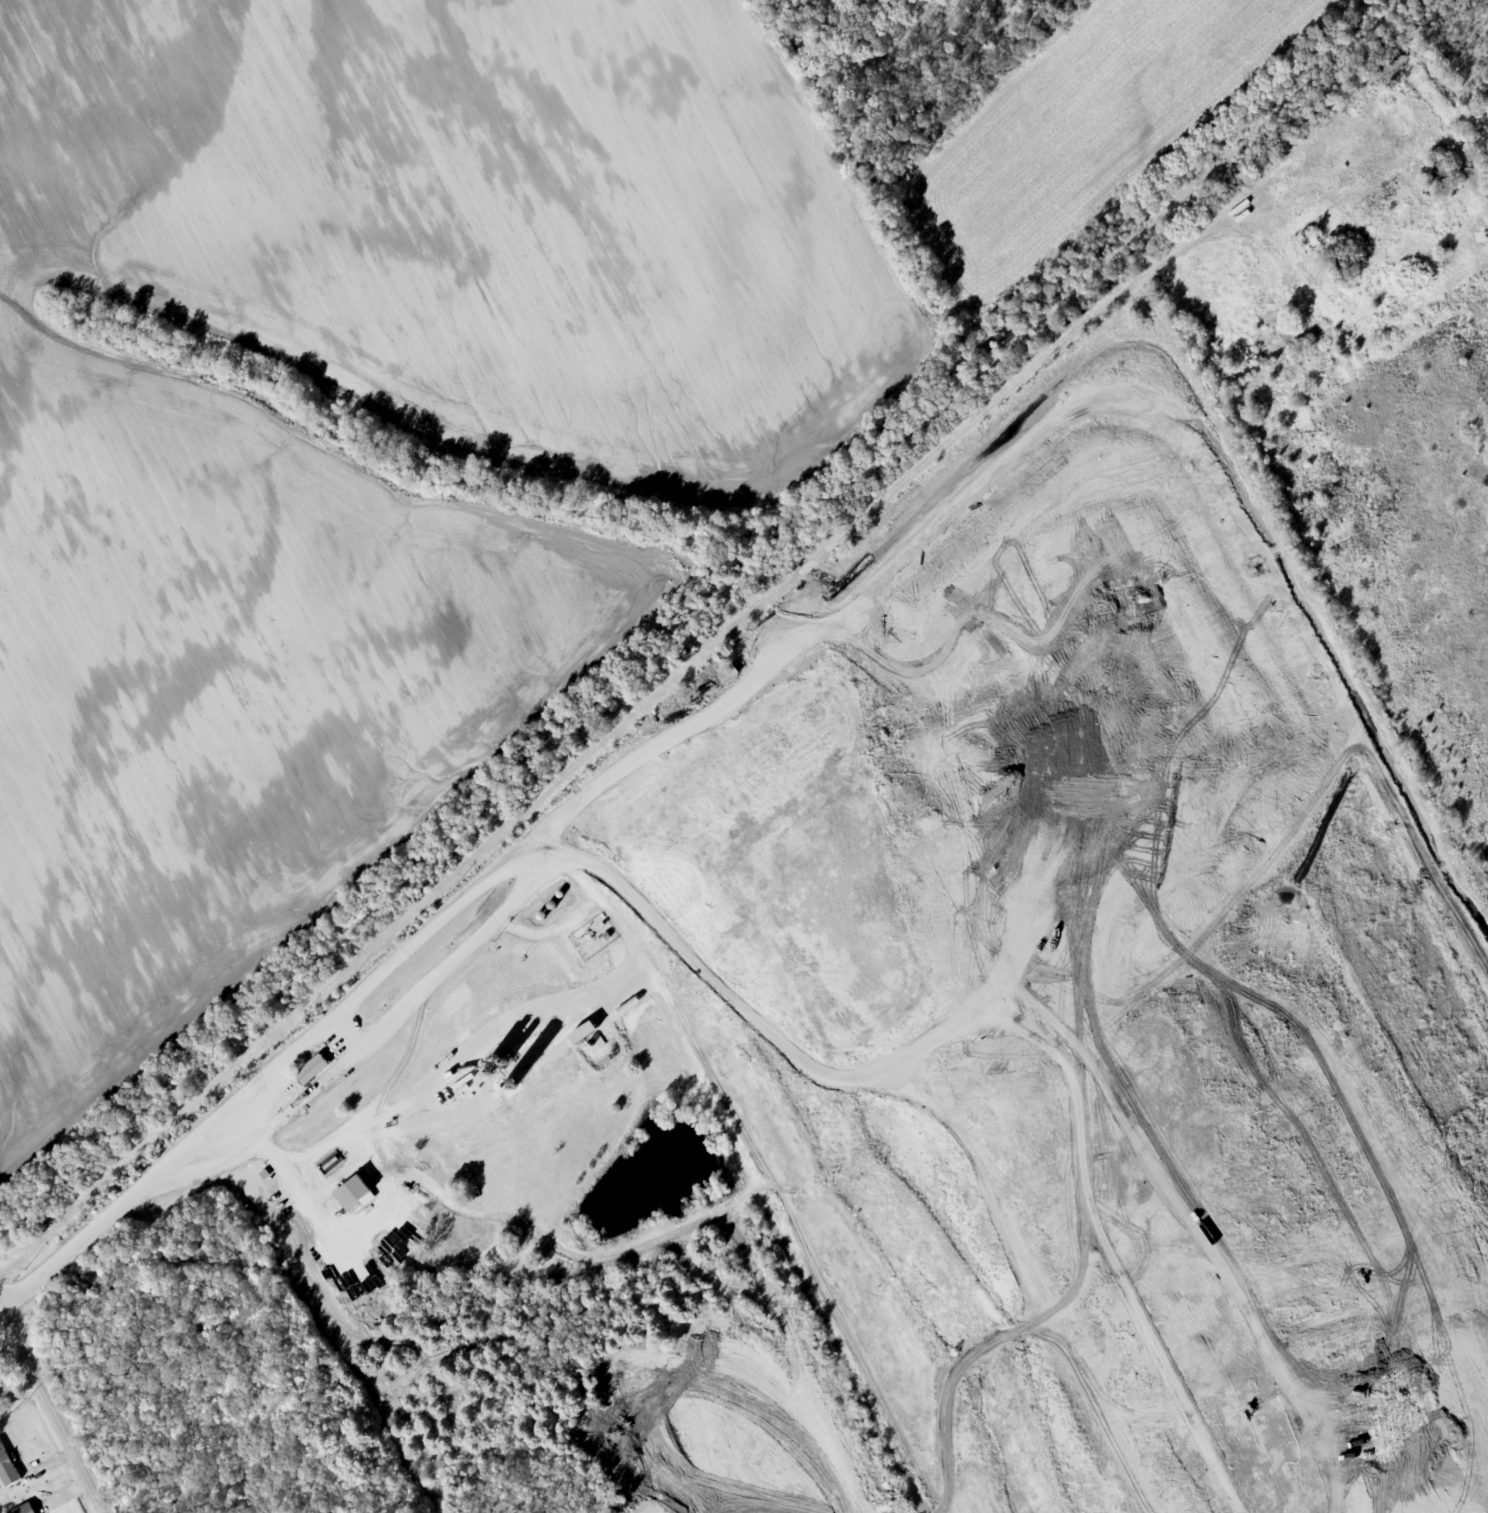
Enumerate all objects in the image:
building: (1442, 170)
building: (1309, 239)
railway: (696, 616)
building: (729, 675)
building: (587, 941)
building: (311, 1071)
building: (354, 1194)
road: (52, 1415)
road: (27, 1437)
building: (26, 1509)

